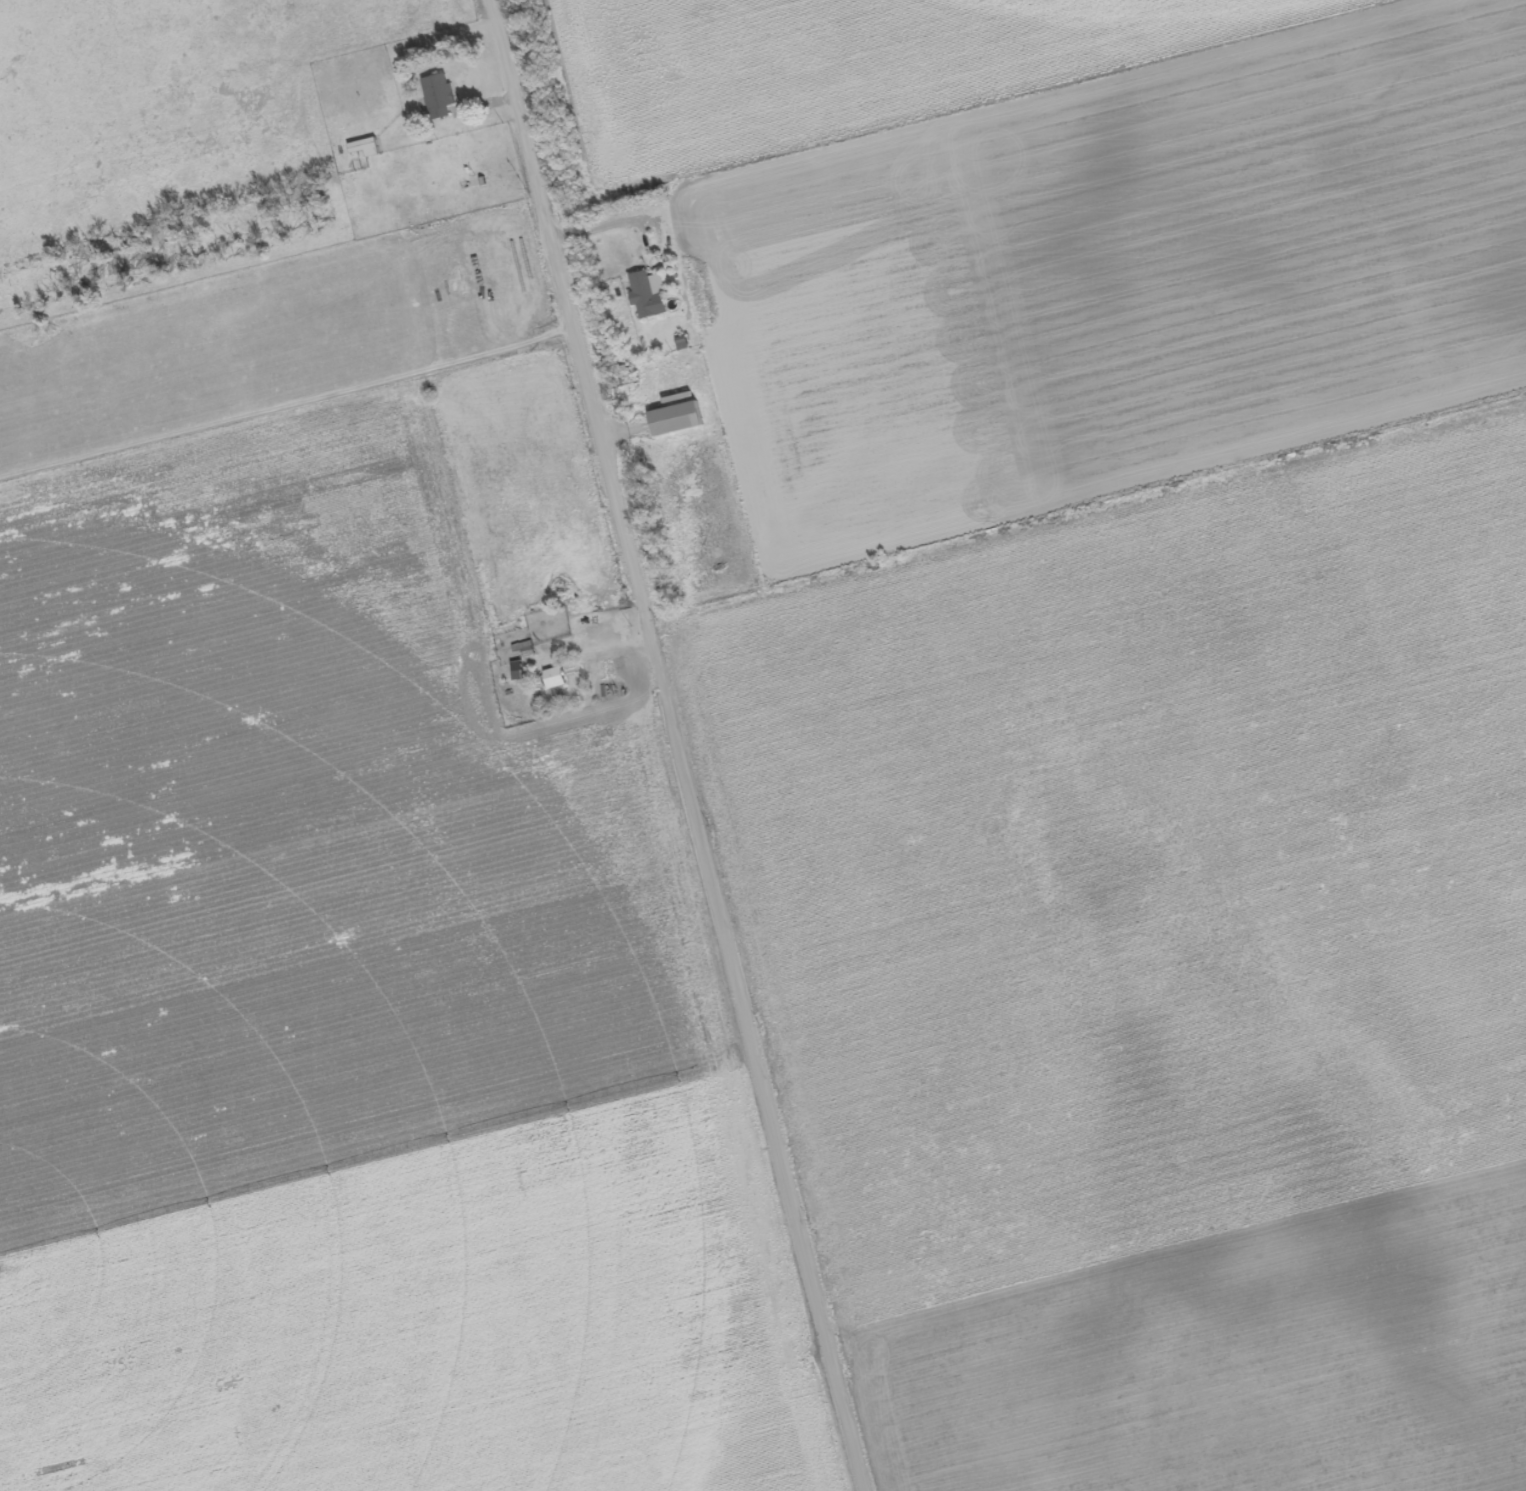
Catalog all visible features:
building: (443, 98)
building: (368, 150)
road: (259, 211)
building: (653, 297)
building: (681, 421)
building: (559, 679)
road: (671, 745)

